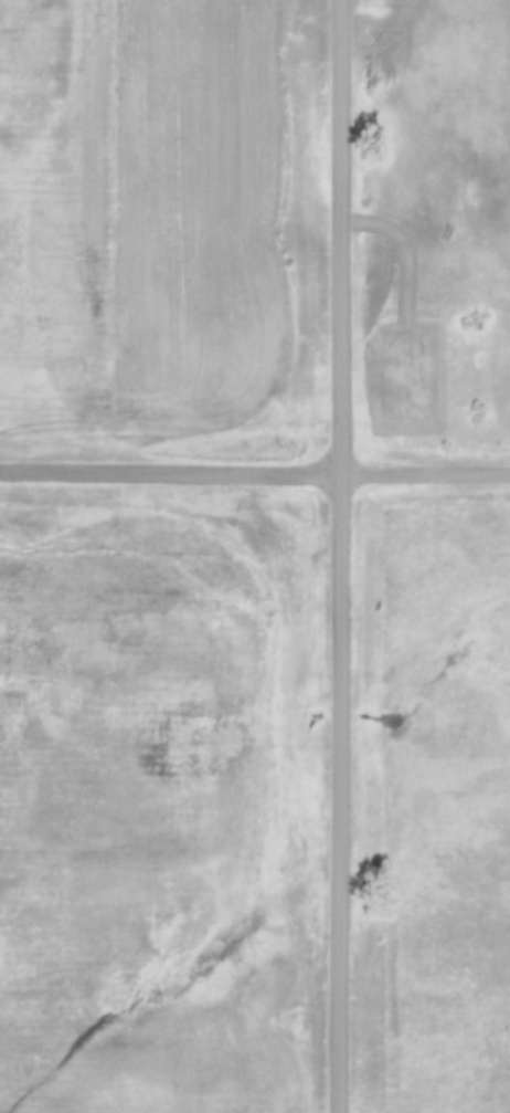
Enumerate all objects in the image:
park: (400, 372)
road: (426, 465)
road: (171, 473)
road: (342, 556)

